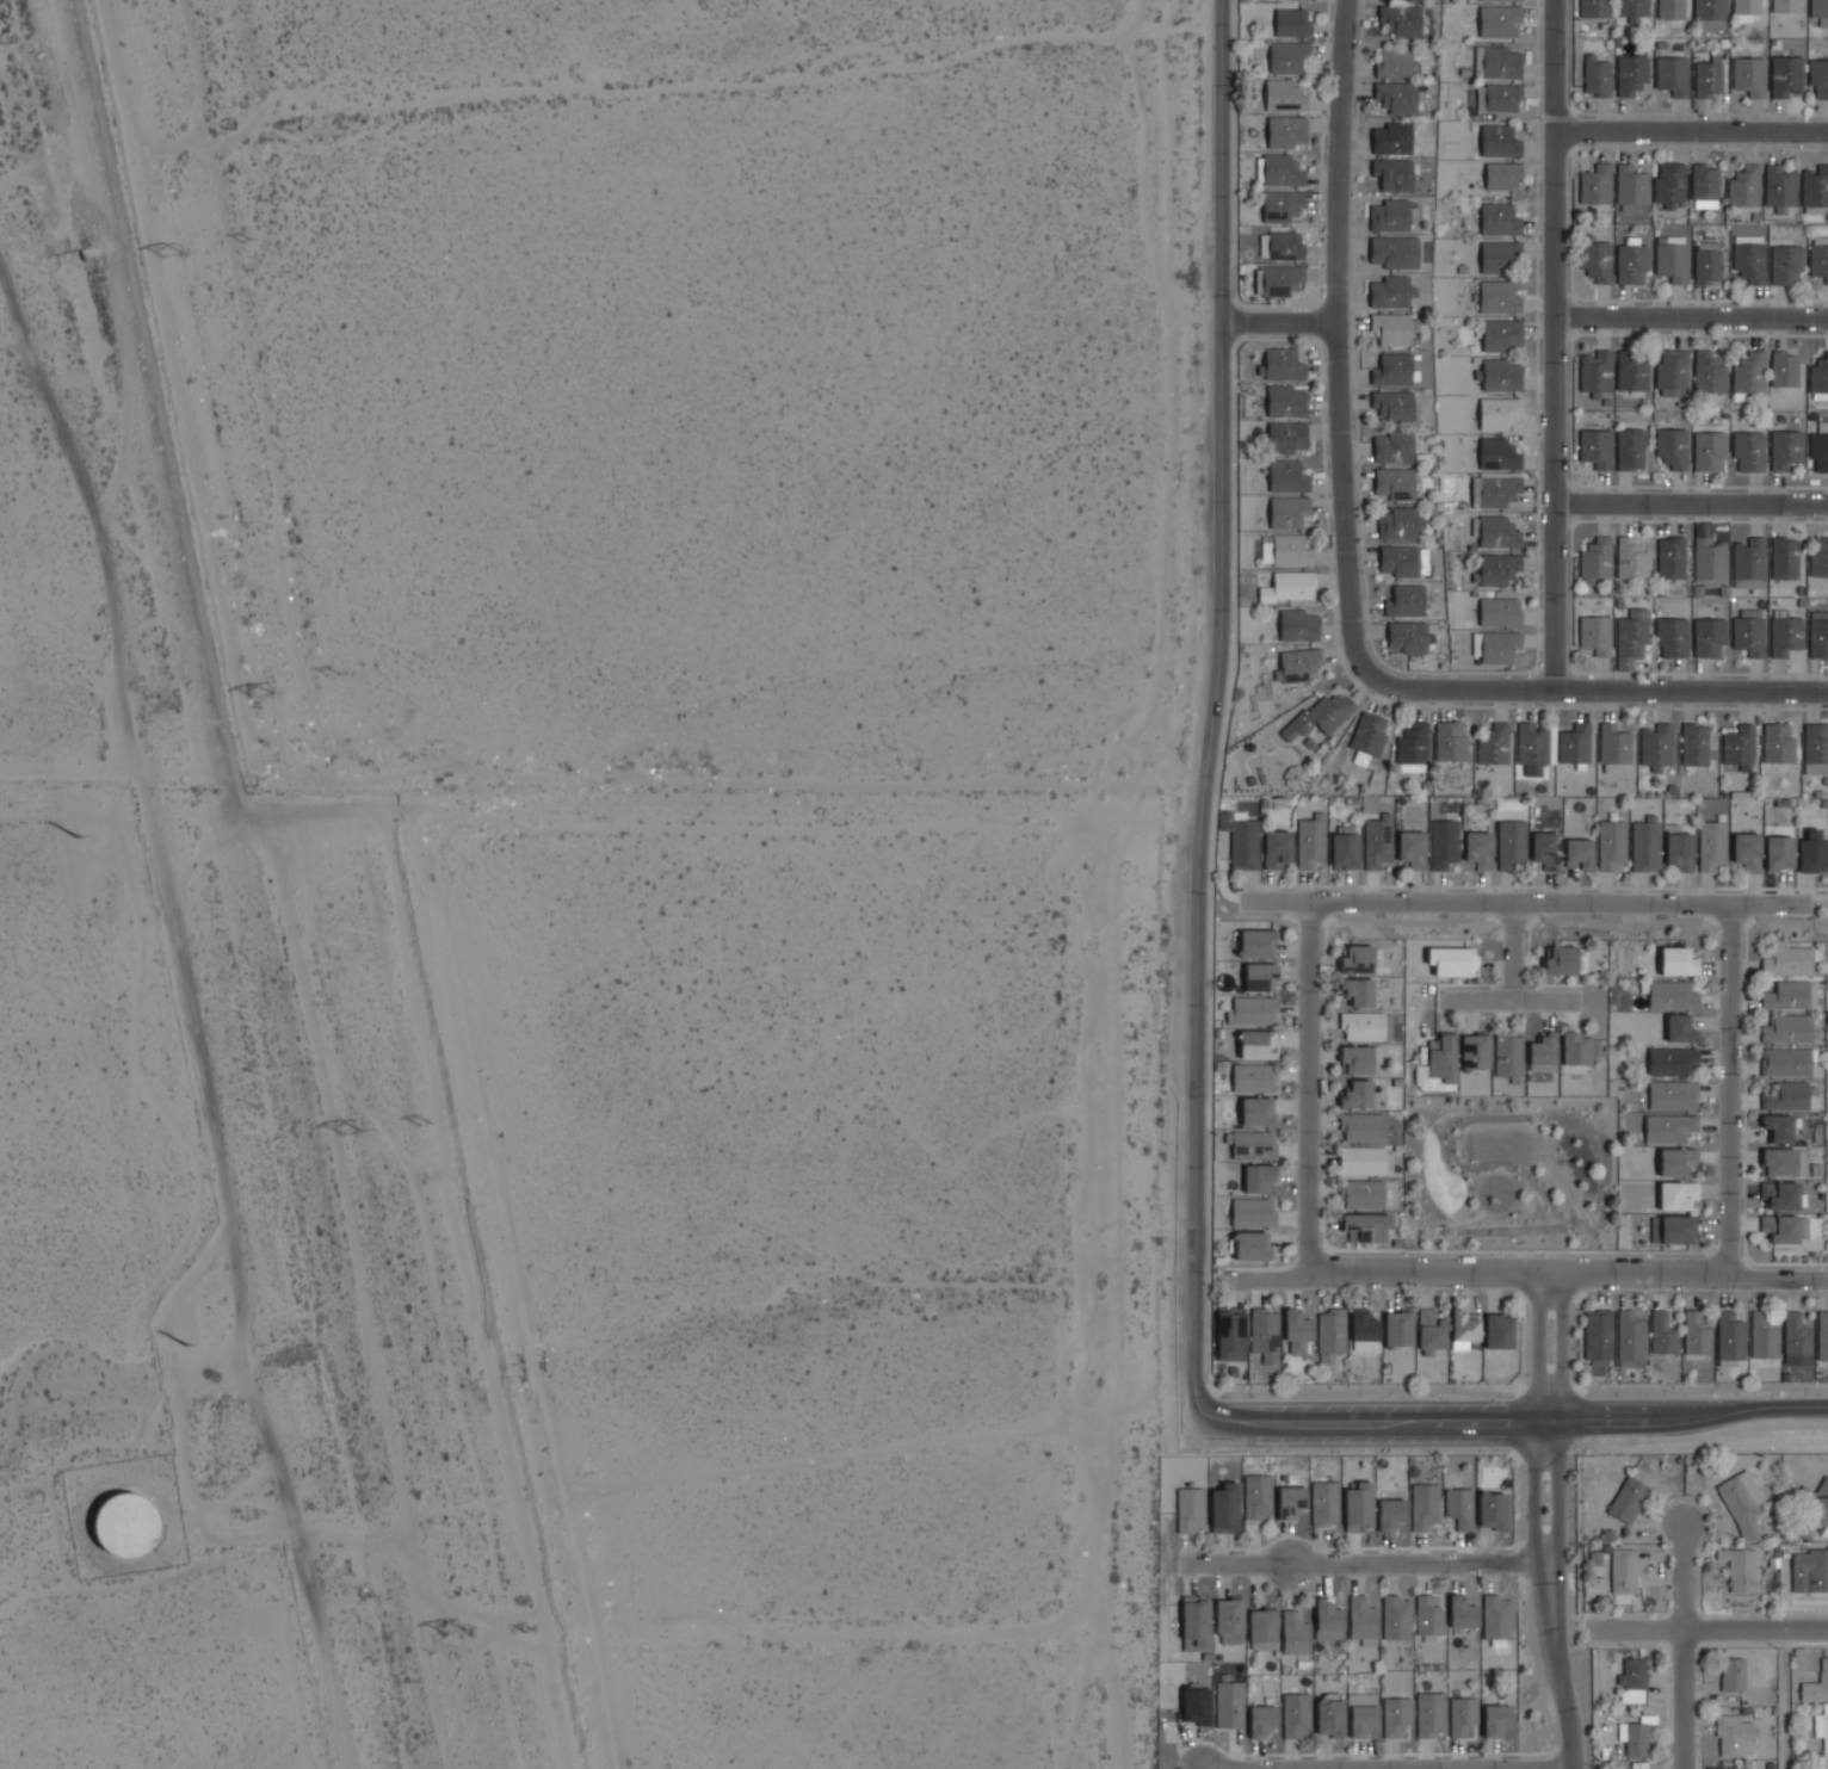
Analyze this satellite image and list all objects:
building: (1492, 0)
building: (1784, 6)
building: (1594, 8)
building: (1631, 10)
building: (1670, 10)
building: (1744, 10)
building: (1820, 11)
building: (1706, 12)
building: (1400, 19)
building: (1499, 20)
building: (1291, 23)
building: (1287, 57)
building: (1496, 62)
building: (1394, 63)
building: (1630, 74)
building: (1672, 75)
building: (1749, 75)
building: (1786, 75)
building: (1595, 76)
building: (1818, 78)
building: (1707, 79)
building: (1284, 95)
building: (1396, 97)
building: (1497, 97)
road: (1692, 128)
building: (1286, 130)
building: (1391, 138)
building: (1499, 141)
building: (1278, 169)
building: (1392, 174)
building: (1502, 175)
building: (1705, 181)
building: (1669, 184)
building: (1595, 185)
building: (1631, 185)
building: (1744, 186)
building: (1779, 186)
building: (1815, 186)
building: (1282, 205)
building: (1389, 216)
building: (1499, 219)
power tower: (246, 242)
building: (1280, 246)
building: (1394, 252)
building: (1499, 255)
building: (1818, 256)
building: (1595, 258)
building: (1672, 258)
building: (1749, 258)
power tower: (177, 259)
building: (1631, 260)
building: (1706, 262)
building: (1785, 264)
building: (1278, 279)
building: (1389, 292)
building: (1499, 297)
road: (1691, 317)
road: (1278, 322)
building: (1391, 328)
building: (1501, 334)
road: (1554, 344)
road: (1339, 348)
building: (1280, 364)
building: (1392, 369)
building: (1784, 369)
building: (1632, 371)
building: (1673, 372)
building: (1709, 372)
building: (1749, 372)
building: (1500, 375)
building: (1820, 377)
building: (1285, 401)
building: (1394, 404)
building: (1497, 413)
building: (1286, 437)
building: (1392, 446)
building: (1595, 447)
building: (1630, 447)
building: (1818, 447)
building: (1672, 449)
building: (1785, 449)
building: (1707, 451)
building: (1748, 451)
building: (1497, 454)
building: (1287, 475)
building: (1394, 483)
building: (1499, 490)
road: (1693, 499)
building: (1287, 509)
building: (1401, 522)
building: (1497, 532)
building: (1285, 550)
building: (1818, 556)
building: (1670, 557)
building: (1597, 558)
building: (1631, 558)
building: (1784, 558)
building: (1400, 559)
building: (1709, 562)
building: (1748, 563)
building: (1496, 569)
building: (1289, 586)
building: (1404, 599)
building: (1499, 611)
building: (1298, 625)
building: (1748, 631)
building: (1595, 635)
building: (1818, 635)
building: (1785, 636)
building: (1407, 637)
building: (1630, 637)
building: (1672, 637)
building: (1707, 637)
building: (1297, 664)
power tower: (332, 674)
road: (1606, 688)
power tower: (265, 697)
road: (1213, 716)
building: (1320, 716)
building: (1367, 737)
building: (1450, 741)
building: (1574, 743)
building: (1778, 743)
building: (1413, 744)
building: (1493, 744)
building: (1694, 744)
building: (1656, 746)
building: (1534, 747)
building: (1739, 747)
building: (1613, 748)
building: (1815, 748)
building: (1295, 778)
power tower: (78, 836)
building: (1240, 839)
building: (1310, 841)
building: (1377, 841)
building: (1444, 843)
building: (1511, 843)
building: (1611, 845)
building: (1645, 845)
building: (1344, 846)
building: (1711, 846)
building: (1277, 848)
building: (1410, 849)
building: (1478, 849)
building: (1545, 849)
building: (1746, 851)
building: (1811, 852)
building: (1579, 853)
building: (1778, 853)
road: (1524, 902)
road: (1523, 918)
building: (1256, 944)
road: (1512, 950)
building: (1357, 959)
building: (1452, 960)
building: (1561, 960)
building: (1678, 961)
building: (1787, 961)
building: (1260, 976)
building: (1358, 991)
building: (1670, 995)
building: (1786, 995)
road: (1509, 998)
building: (1252, 1010)
building: (1363, 1026)
building: (1789, 1027)
building: (1680, 1029)
building: (1256, 1044)
building: (1575, 1047)
building: (1475, 1051)
building: (1543, 1052)
building: (1507, 1054)
building: (1441, 1058)
building: (1355, 1059)
building: (1670, 1060)
building: (1786, 1060)
building: (1253, 1077)
road: (1310, 1087)
road: (1730, 1090)
building: (1357, 1093)
building: (1673, 1095)
building: (1786, 1096)
building: (1256, 1111)
power tower: (424, 1124)
building: (1361, 1127)
building: (1669, 1127)
building: (1778, 1127)
power tower: (352, 1134)
building: (1252, 1144)
building: (1365, 1159)
building: (1676, 1161)
building: (1779, 1162)
building: (1799, 1162)
park: (1509, 1170)
building: (1259, 1177)
building: (1361, 1193)
building: (1675, 1194)
building: (1780, 1195)
building: (1250, 1211)
road: (1452, 1221)
building: (1366, 1225)
building: (1784, 1227)
building: (1676, 1229)
building: (1250, 1245)
road: (1529, 1272)
building: (1364, 1325)
building: (1400, 1325)
building: (1464, 1328)
building: (1297, 1330)
building: (1431, 1330)
building: (1497, 1330)
building: (1230, 1332)
building: (1265, 1334)
building: (1662, 1334)
building: (1696, 1334)
building: (1330, 1335)
building: (1764, 1335)
building: (1823, 1335)
building: (1630, 1336)
building: (1729, 1336)
building: (1597, 1337)
building: (1797, 1338)
power tower: (186, 1346)
road: (1514, 1391)
road: (1537, 1411)
road: (1561, 1411)
road: (1375, 1419)
road: (1675, 1419)
building: (1641, 1476)
building: (1256, 1496)
building: (1626, 1499)
building: (1326, 1501)
building: (1290, 1502)
building: (1821, 1502)
building: (1741, 1503)
building: (1358, 1507)
building: (1424, 1507)
building: (1459, 1507)
building: (1190, 1509)
building: (1224, 1509)
building: (1492, 1510)
building: (1390, 1514)
building: (124, 1524)
storage tank: (124, 1524)
road: (1367, 1559)
building: (1740, 1569)
building: (1809, 1570)
building: (1623, 1575)
road: (1684, 1576)
building: (1462, 1612)
building: (1229, 1615)
building: (1427, 1615)
building: (1495, 1616)
building: (1396, 1618)
building: (1328, 1621)
building: (1363, 1621)
building: (1196, 1623)
road: (904, 1626)
building: (1262, 1628)
road: (1709, 1628)
power tower: (526, 1629)
power tower: (453, 1632)
building: (1295, 1633)
road: (1556, 1657)
building: (1731, 1672)
building: (1632, 1680)
building: (1816, 1684)
road: (1685, 1699)
road: (1785, 1699)
building: (1230, 1703)
building: (1196, 1705)
building: (1395, 1713)
building: (1295, 1714)
building: (1429, 1714)
building: (1460, 1715)
building: (1495, 1717)
building: (1261, 1718)
building: (1329, 1718)
building: (1363, 1718)
building: (1822, 1727)
building: (1734, 1736)
building: (1635, 1738)
building: (1724, 1767)
building: (1824, 1767)
road: (1390, 1768)

